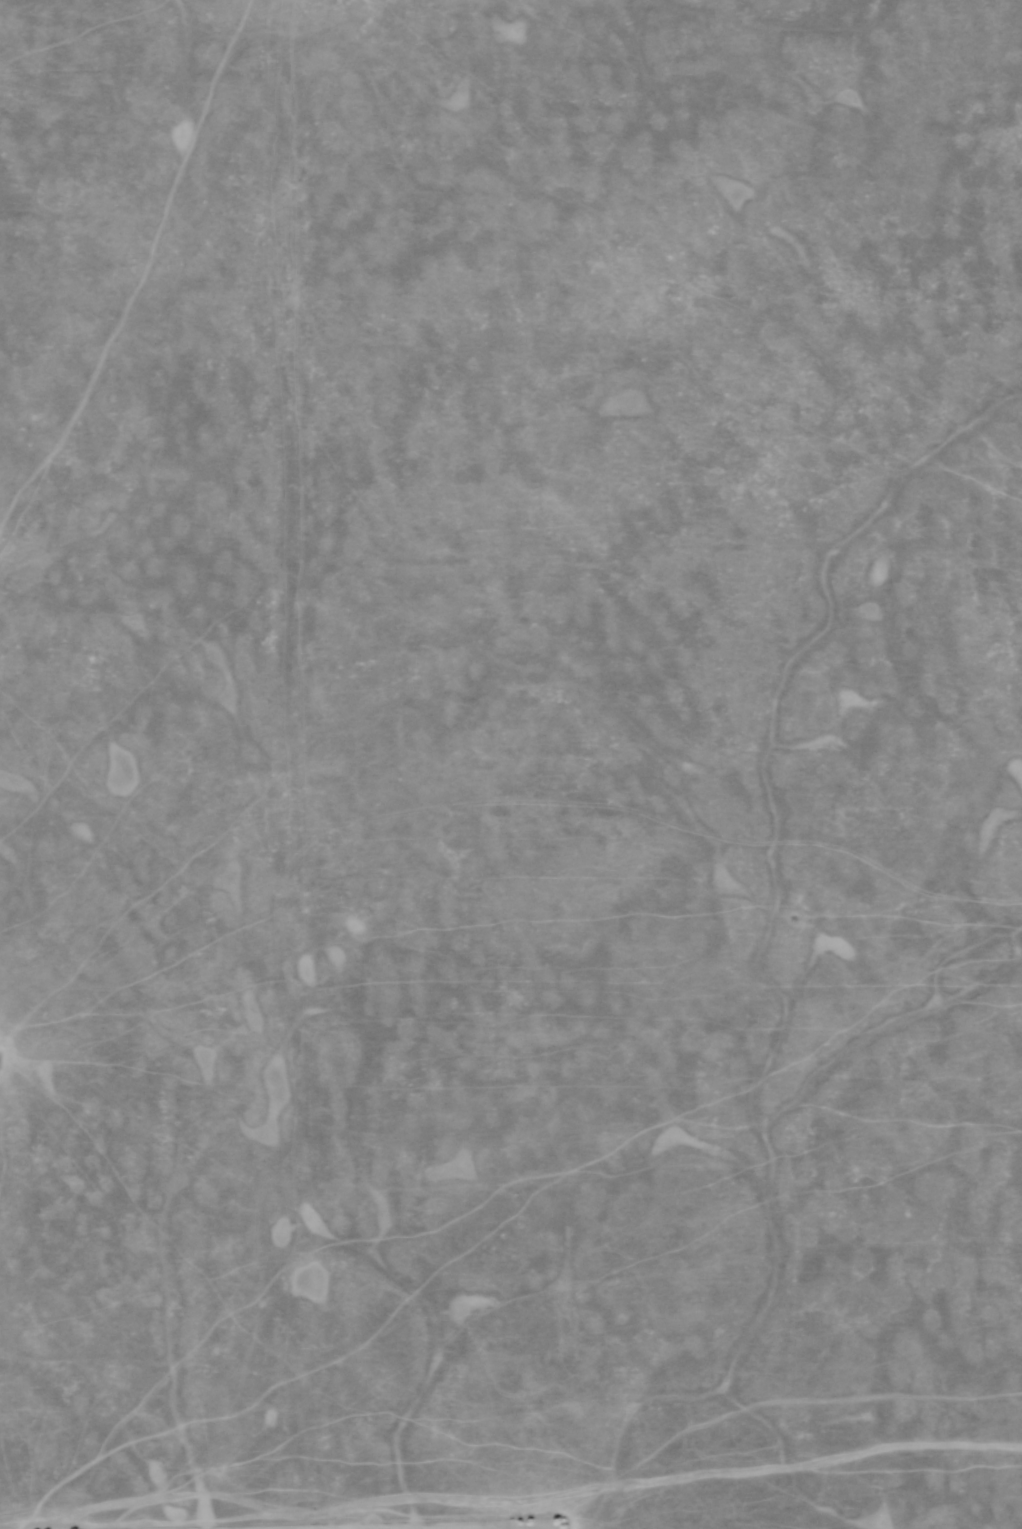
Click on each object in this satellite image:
crop: (277, 1523)

